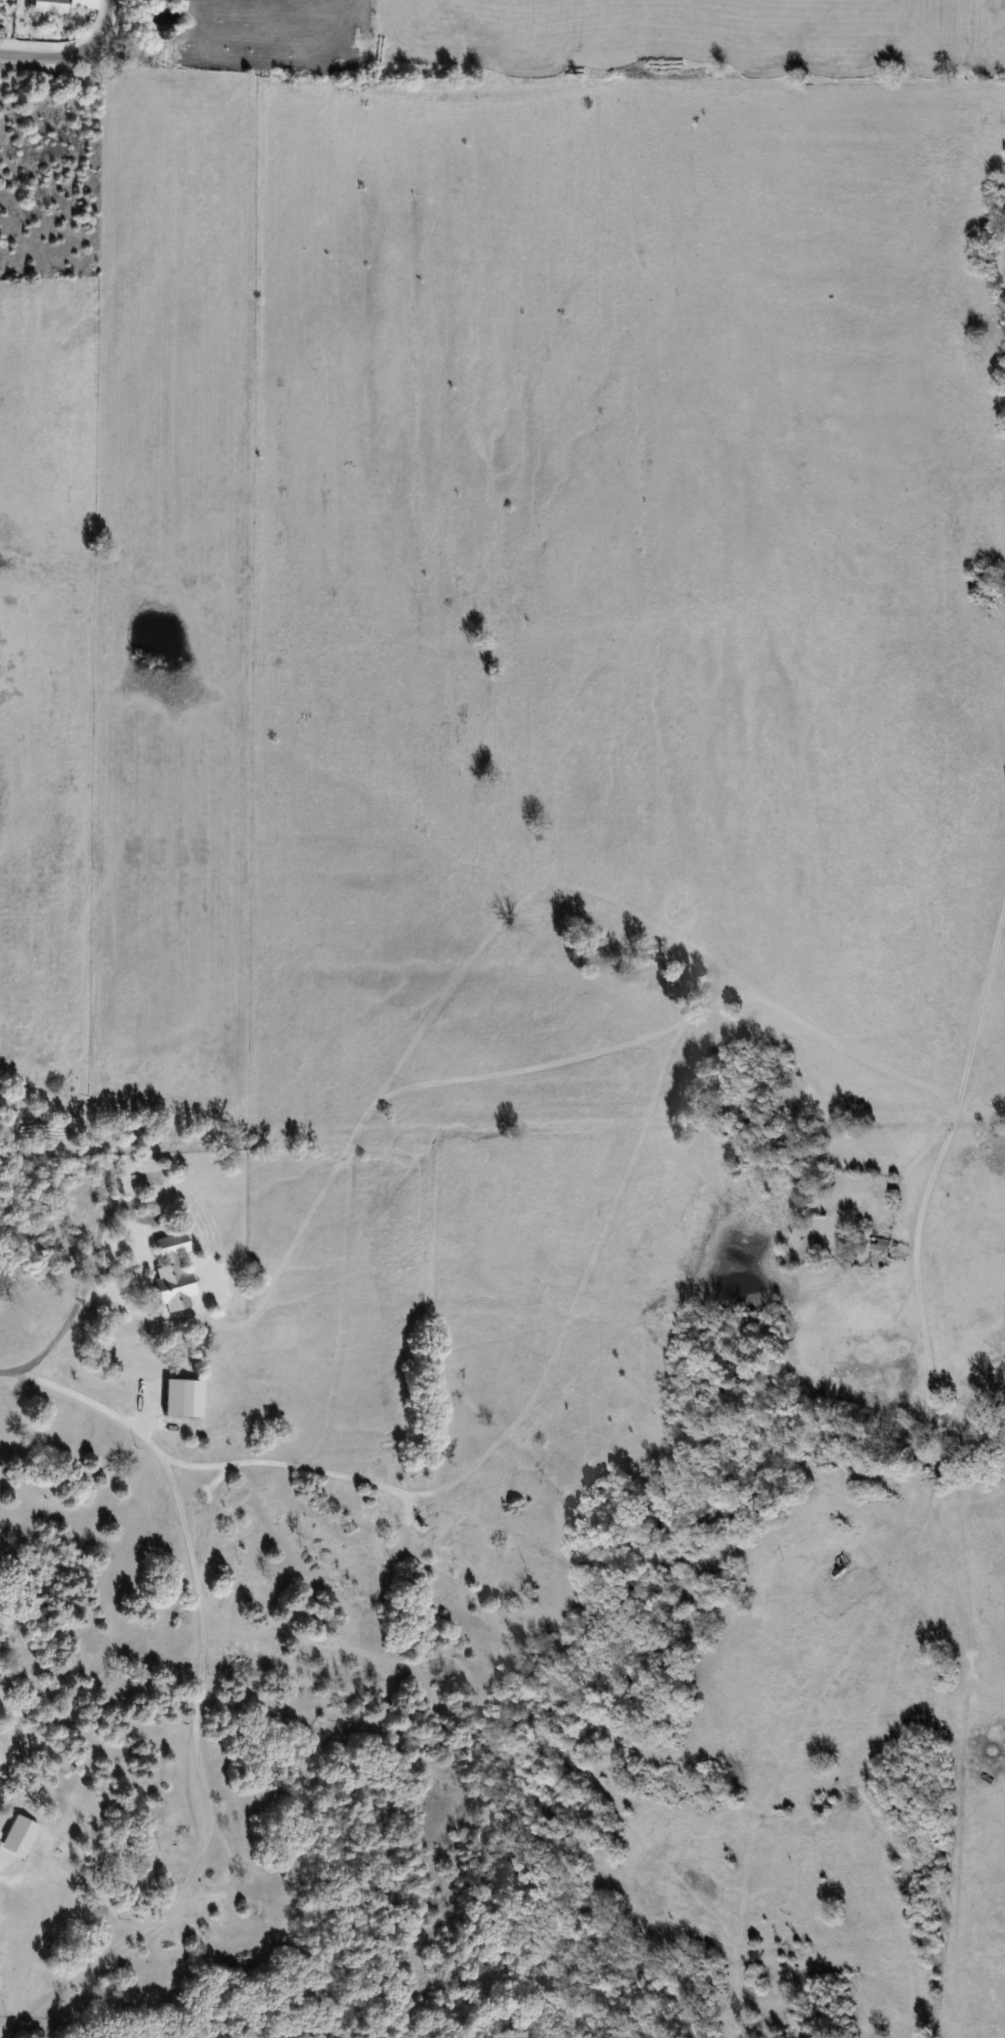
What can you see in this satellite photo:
building: (49, 7)
road: (74, 56)
road: (1000, 910)
building: (879, 1244)
road: (87, 1280)
road: (176, 1486)

